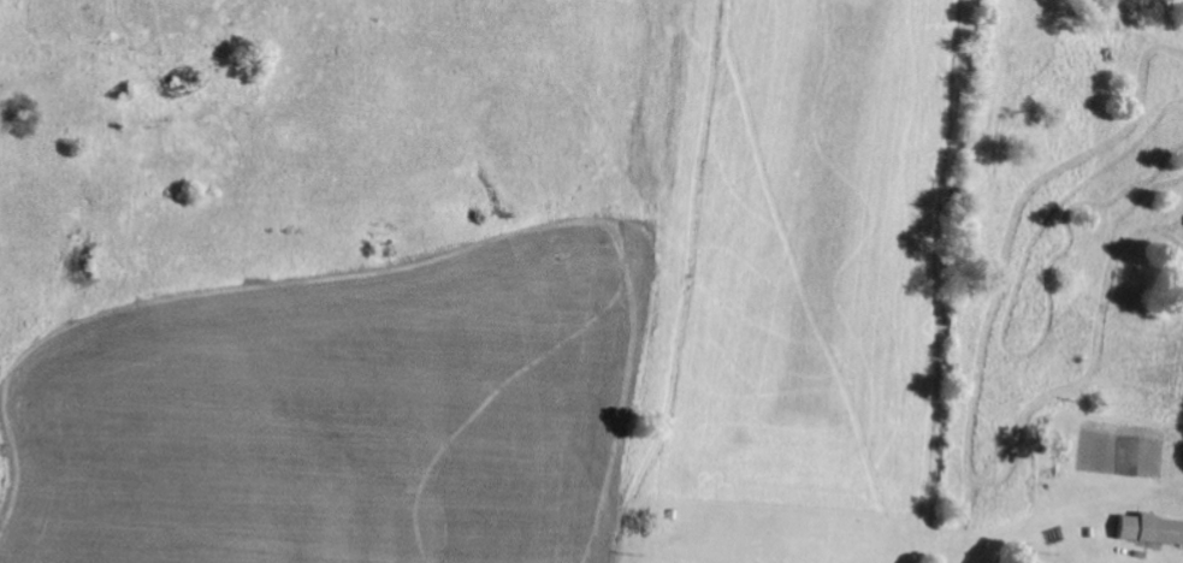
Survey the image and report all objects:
building: (1147, 529)

